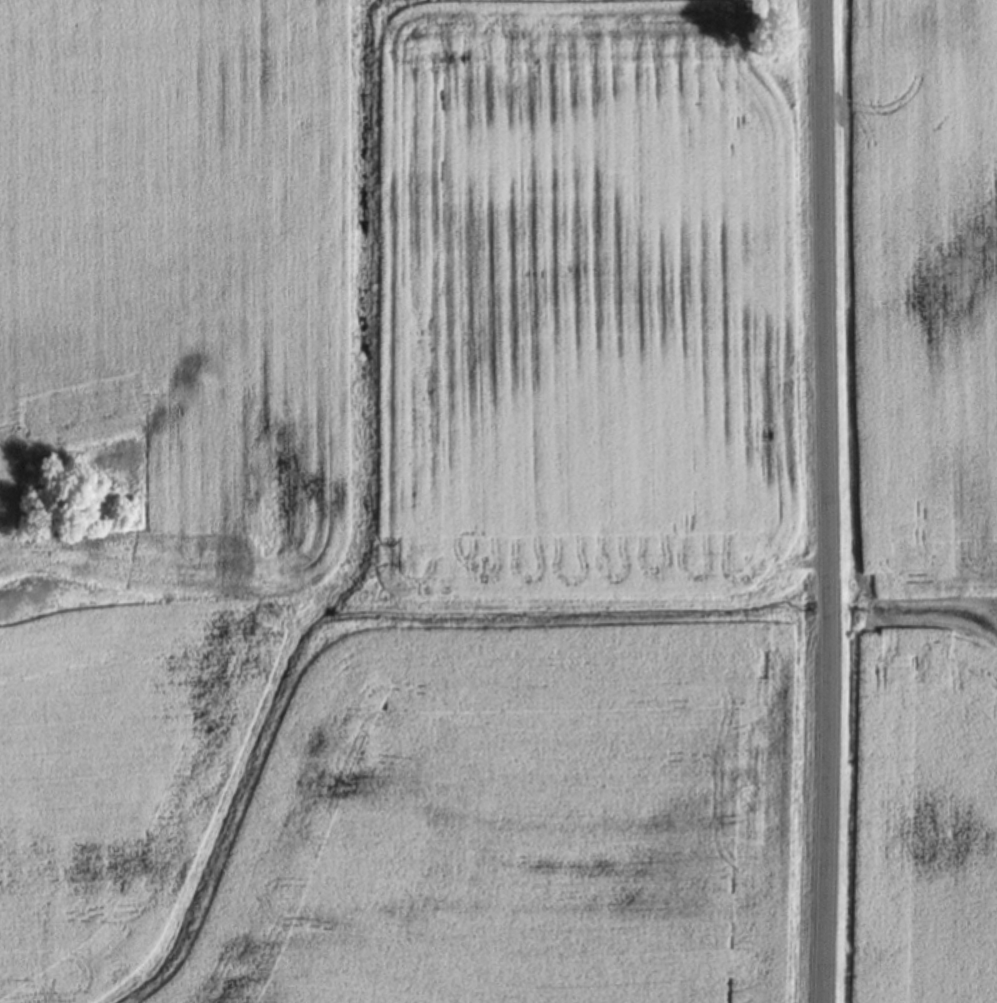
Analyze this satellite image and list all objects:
road: (821, 501)

